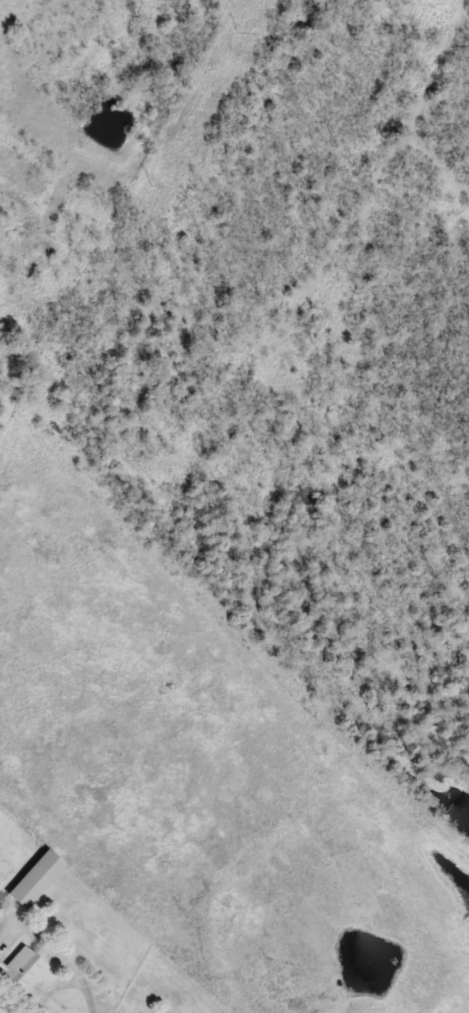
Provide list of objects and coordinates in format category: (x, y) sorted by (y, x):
building: (36, 880)
building: (22, 972)

